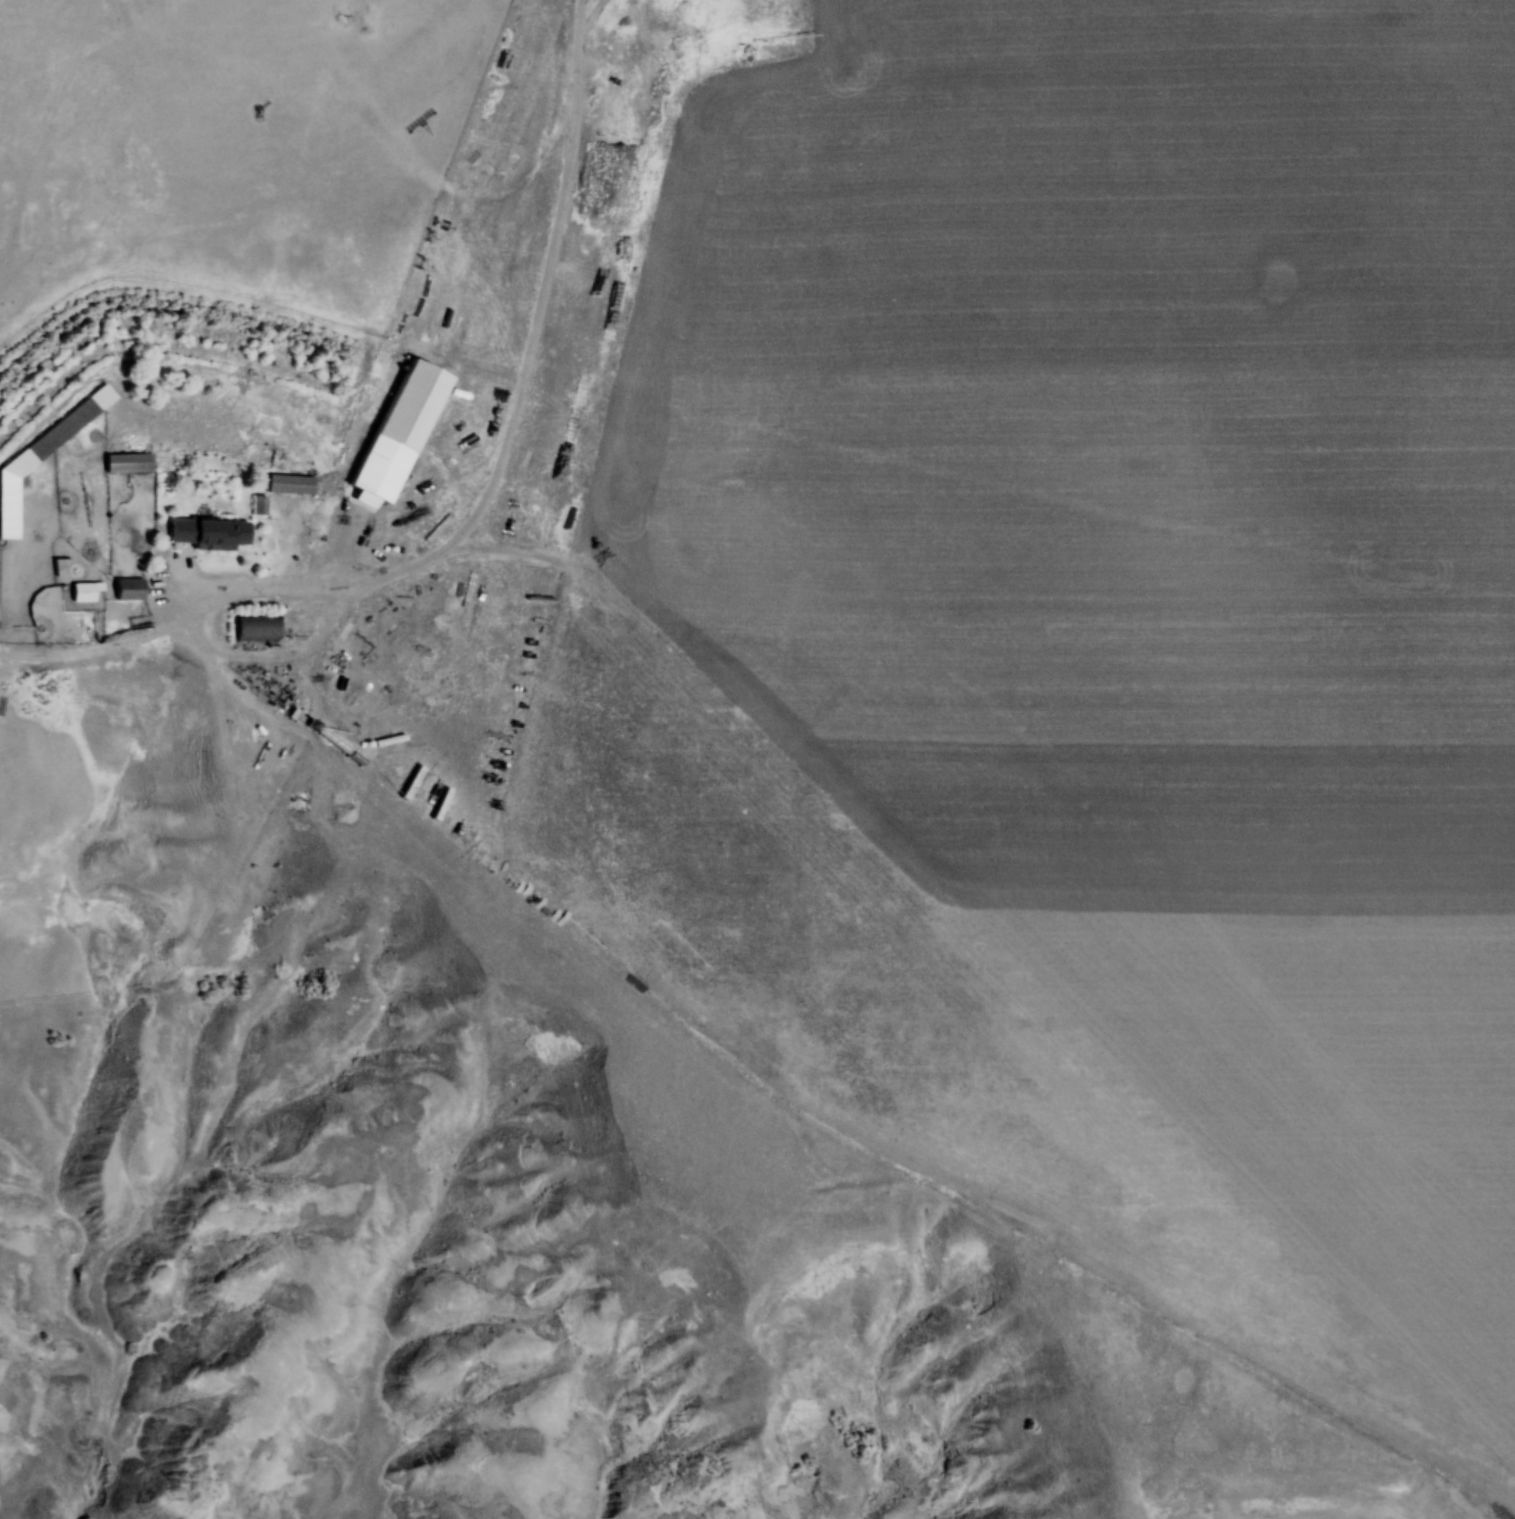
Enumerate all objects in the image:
road: (513, 413)
building: (122, 463)
building: (128, 473)
building: (381, 477)
building: (285, 485)
building: (290, 494)
building: (254, 506)
building: (260, 517)
building: (210, 542)
building: (122, 590)
building: (78, 592)
building: (129, 600)
building: (84, 602)
building: (255, 638)
crop: (1088, 654)

